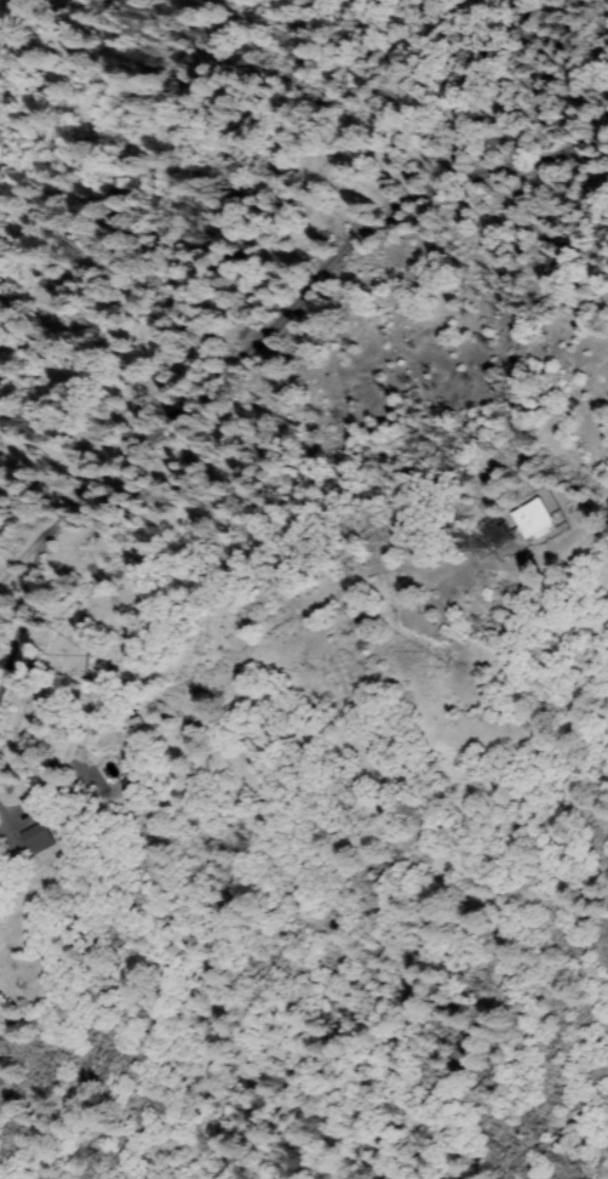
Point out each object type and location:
road: (273, 315)
building: (533, 520)
building: (453, 634)
building: (86, 688)
building: (140, 723)
building: (39, 841)

